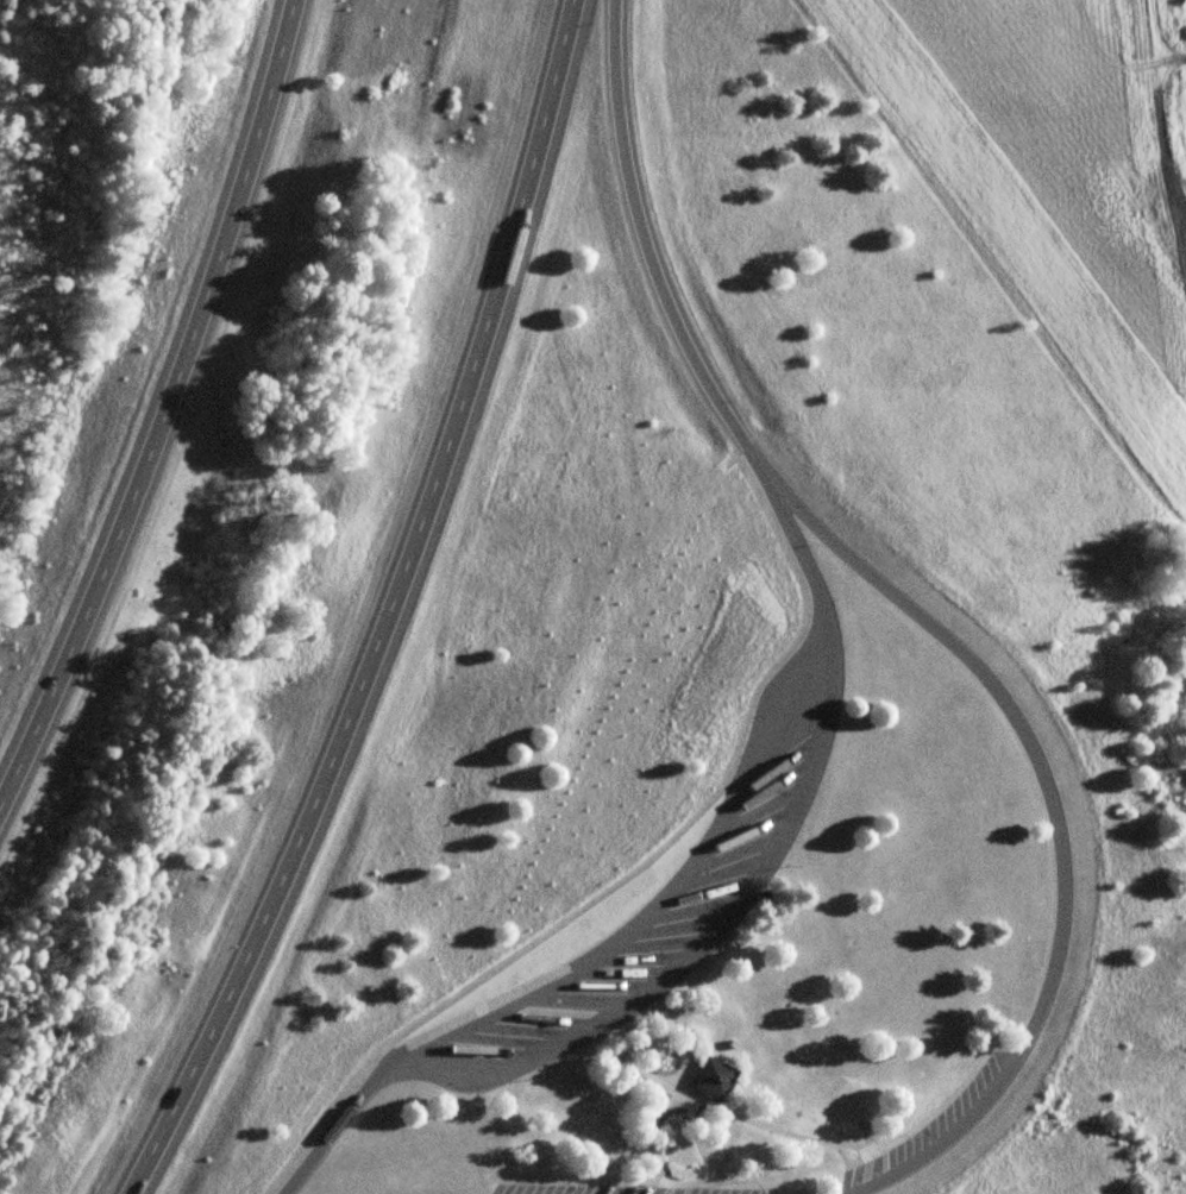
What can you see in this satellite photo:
road: (646, 251)
road: (165, 408)
road: (387, 611)
road: (1055, 825)
road: (655, 899)
parking lot: (654, 900)
road: (698, 942)
road: (642, 1014)
road: (678, 1081)
building: (711, 1081)
road: (636, 1110)
road: (720, 1111)
road: (922, 1120)
parking lot: (935, 1129)
road: (636, 1140)
road: (627, 1183)
parking lot: (603, 1190)

